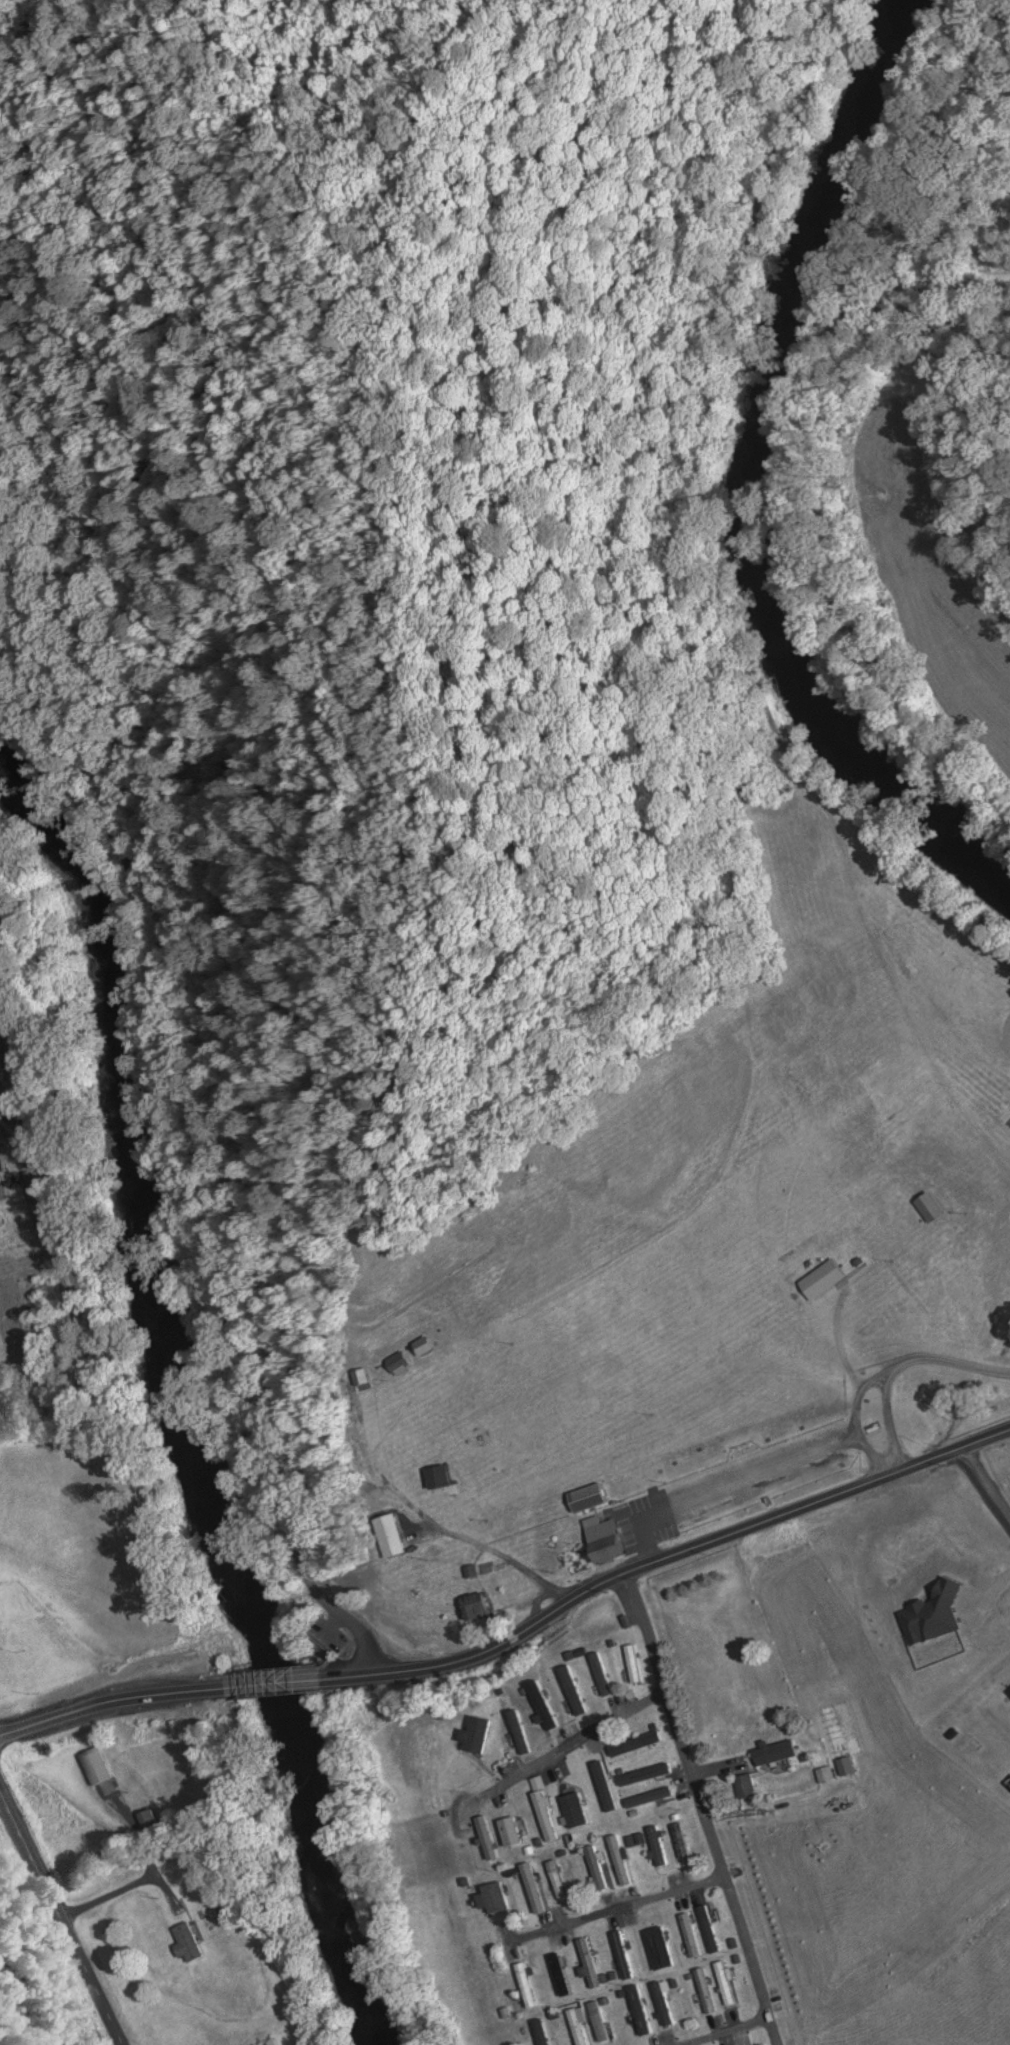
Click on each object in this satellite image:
river: (749, 484)
park: (485, 776)
road: (182, 1184)
road: (900, 1367)
road: (888, 1370)
river: (192, 1390)
road: (858, 1423)
parking lot: (733, 1486)
road: (986, 1487)
road: (729, 1490)
road: (661, 1562)
parking lot: (339, 1645)
road: (248, 1684)
road: (89, 1707)
road: (567, 1750)
road: (2, 1805)
road: (700, 1810)
road: (124, 1890)
road: (614, 1911)
road: (61, 1921)
road: (727, 2032)

